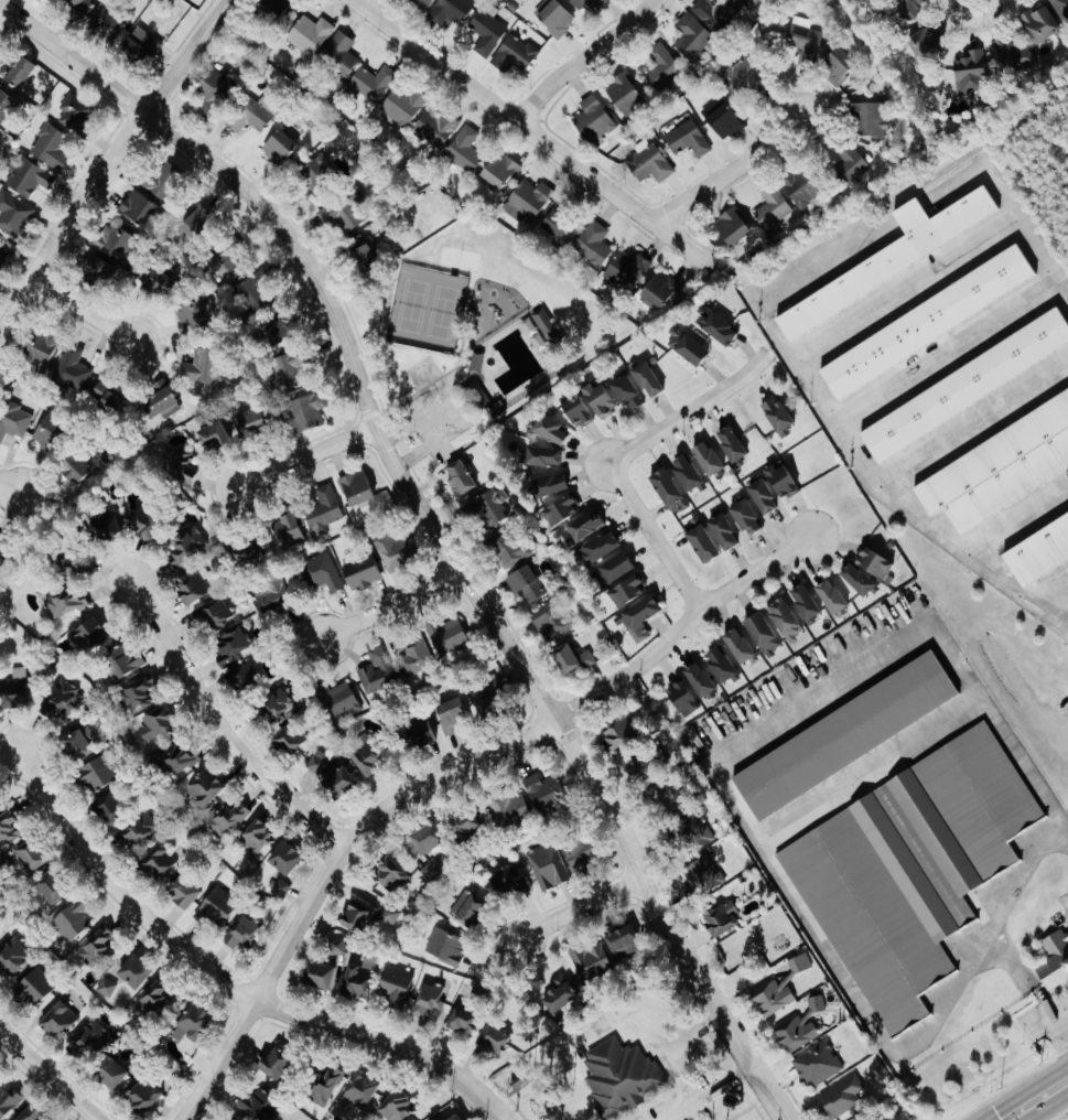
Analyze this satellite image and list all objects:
building: (751, 1)
building: (425, 2)
building: (80, 6)
building: (579, 6)
building: (272, 8)
building: (913, 10)
building: (1061, 10)
building: (451, 11)
road: (1, 12)
building: (718, 14)
building: (557, 18)
building: (108, 24)
building: (1043, 24)
building: (488, 31)
building: (691, 34)
building: (310, 35)
building: (805, 41)
building: (926, 42)
building: (140, 45)
building: (1015, 54)
building: (339, 55)
building: (515, 55)
road: (582, 58)
building: (662, 66)
building: (838, 66)
building: (18, 72)
building: (742, 74)
building: (971, 76)
building: (373, 84)
building: (215, 90)
building: (623, 91)
building: (7, 106)
building: (404, 106)
building: (76, 114)
building: (250, 116)
building: (723, 118)
building: (871, 120)
building: (594, 121)
building: (435, 129)
road: (533, 136)
building: (688, 139)
building: (51, 147)
building: (280, 147)
building: (464, 151)
building: (651, 162)
road: (106, 163)
building: (850, 163)
building: (499, 172)
road: (726, 172)
building: (319, 175)
building: (29, 177)
building: (166, 182)
building: (802, 186)
building: (528, 202)
building: (139, 208)
building: (773, 209)
building: (343, 213)
building: (14, 214)
building: (198, 223)
building: (559, 226)
building: (733, 227)
building: (1, 237)
building: (117, 244)
building: (594, 245)
building: (364, 256)
building: (896, 256)
building: (226, 265)
building: (101, 269)
building: (627, 271)
building: (161, 283)
building: (255, 290)
building: (662, 291)
road: (80, 312)
building: (195, 314)
building: (928, 322)
building: (716, 327)
road: (832, 327)
building: (282, 329)
building: (541, 331)
park: (471, 335)
building: (689, 347)
building: (43, 349)
building: (476, 362)
building: (291, 366)
building: (203, 367)
building: (73, 369)
building: (648, 380)
building: (967, 386)
building: (628, 394)
building: (109, 396)
building: (160, 399)
building: (600, 399)
building: (578, 411)
road: (689, 411)
building: (308, 412)
building: (778, 417)
building: (13, 421)
building: (251, 422)
building: (550, 430)
building: (52, 433)
building: (214, 437)
building: (732, 444)
building: (544, 456)
building: (708, 459)
road: (301, 462)
building: (181, 466)
building: (75, 469)
building: (1000, 469)
building: (687, 473)
building: (461, 480)
building: (783, 482)
building: (550, 485)
building: (667, 487)
building: (357, 488)
road: (13, 491)
building: (764, 497)
building: (492, 509)
building: (324, 510)
building: (560, 511)
building: (746, 518)
road: (1016, 518)
building: (145, 524)
building: (108, 525)
road: (431, 527)
building: (584, 527)
building: (288, 530)
building: (724, 532)
road: (652, 537)
building: (703, 543)
building: (187, 546)
building: (601, 548)
building: (508, 550)
building: (1038, 550)
building: (395, 551)
building: (3, 554)
building: (248, 558)
building: (875, 563)
building: (1067, 568)
building: (615, 569)
building: (323, 573)
building: (363, 573)
building: (857, 580)
building: (527, 584)
building: (193, 589)
road: (1013, 589)
building: (627, 592)
building: (273, 596)
building: (832, 597)
building: (806, 603)
building: (65, 604)
road: (387, 607)
building: (215, 615)
building: (641, 620)
building: (552, 621)
building: (786, 621)
building: (764, 635)
building: (90, 636)
building: (447, 637)
building: (234, 646)
building: (740, 646)
building: (416, 659)
building: (572, 659)
building: (125, 661)
building: (721, 665)
building: (377, 672)
building: (246, 679)
building: (701, 681)
building: (15, 690)
building: (140, 696)
building: (62, 699)
building: (683, 699)
building: (342, 701)
building: (279, 708)
building: (489, 708)
building: (452, 717)
building: (158, 724)
road: (218, 730)
building: (420, 733)
building: (619, 733)
building: (846, 736)
building: (290, 740)
building: (82, 744)
building: (368, 756)
building: (180, 762)
building: (319, 762)
building: (98, 774)
road: (443, 775)
road: (715, 776)
building: (342, 780)
building: (205, 789)
building: (544, 791)
building: (110, 809)
building: (511, 810)
building: (227, 818)
building: (468, 825)
building: (8, 828)
building: (138, 831)
building: (698, 832)
building: (257, 840)
building: (429, 840)
building: (582, 854)
building: (31, 857)
building: (285, 859)
building: (159, 862)
road: (1025, 864)
building: (548, 866)
building: (432, 871)
building: (913, 871)
building: (390, 875)
building: (703, 876)
building: (508, 882)
building: (53, 889)
building: (281, 890)
building: (184, 893)
building: (217, 908)
building: (470, 909)
road: (574, 913)
building: (358, 916)
building: (391, 916)
building: (722, 920)
building: (72, 922)
building: (242, 933)
building: (625, 943)
building: (446, 946)
building: (337, 947)
building: (96, 948)
building: (12, 959)
road: (1016, 959)
building: (1056, 961)
building: (592, 962)
building: (136, 973)
building: (319, 976)
building: (360, 979)
road: (223, 980)
building: (36, 986)
building: (396, 987)
building: (107, 988)
building: (778, 991)
building: (560, 995)
building: (153, 999)
building: (429, 1001)
road: (1047, 1009)
building: (464, 1020)
building: (60, 1022)
building: (193, 1025)
road: (1064, 1026)
building: (800, 1027)
road: (1064, 1035)
building: (495, 1040)
building: (90, 1041)
building: (276, 1064)
building: (819, 1065)
building: (112, 1074)
road: (48, 1076)
building: (622, 1078)
building: (325, 1087)
road: (1025, 1090)
building: (362, 1092)
road: (712, 1094)
building: (144, 1097)
building: (842, 1098)
building: (9, 1101)
building: (261, 1106)
building: (397, 1107)
road: (1051, 1109)
building: (31, 1114)
building: (235, 1118)
building: (457, 1118)
traffic signals: (983, 1118)
road: (981, 1119)
road: (983, 1119)

